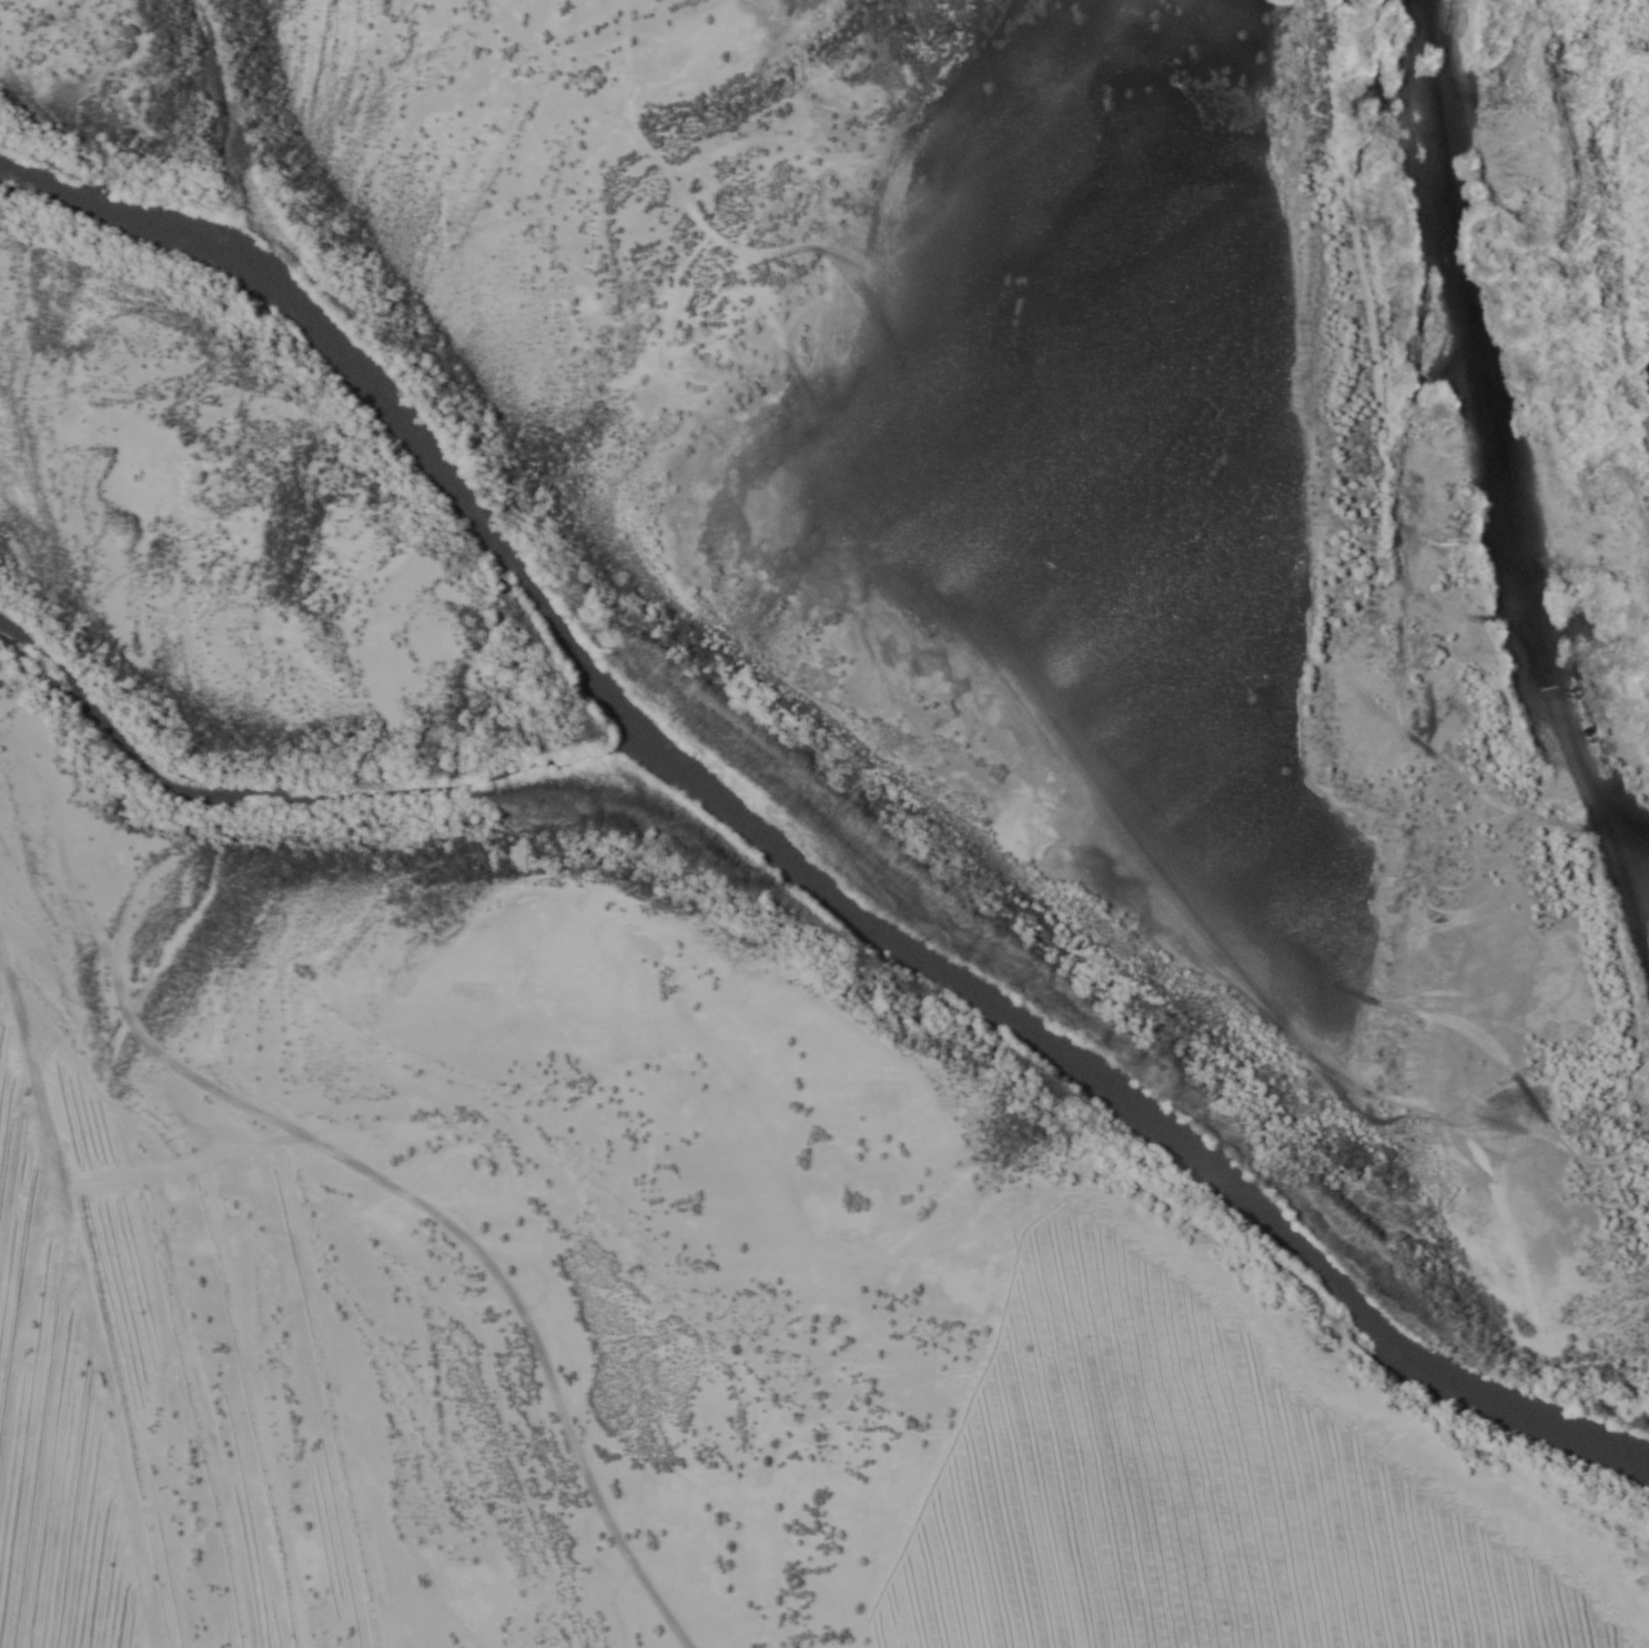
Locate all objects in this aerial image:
river: (787, 840)

